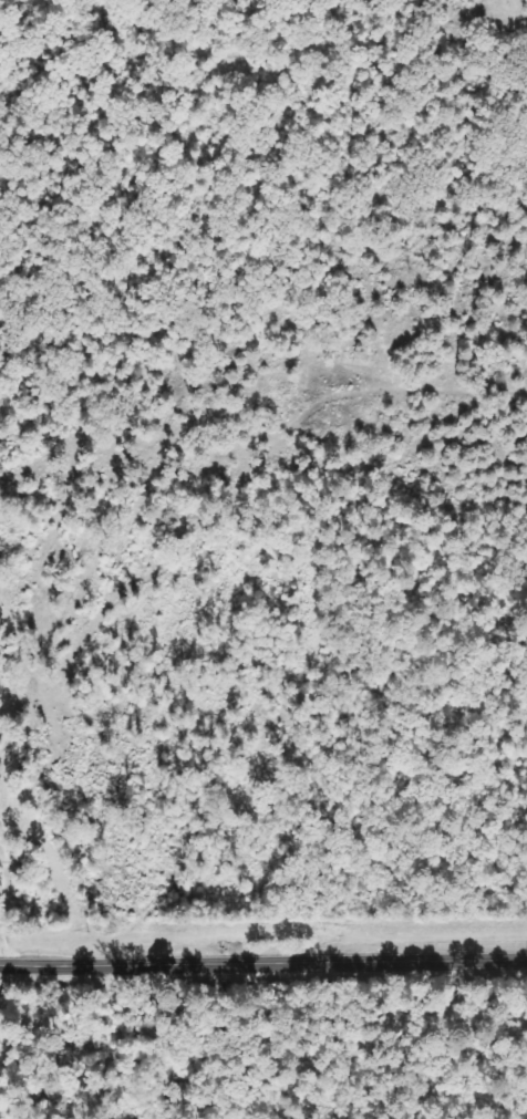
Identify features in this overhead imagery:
road: (263, 963)
road: (172, 992)
road: (300, 1020)

